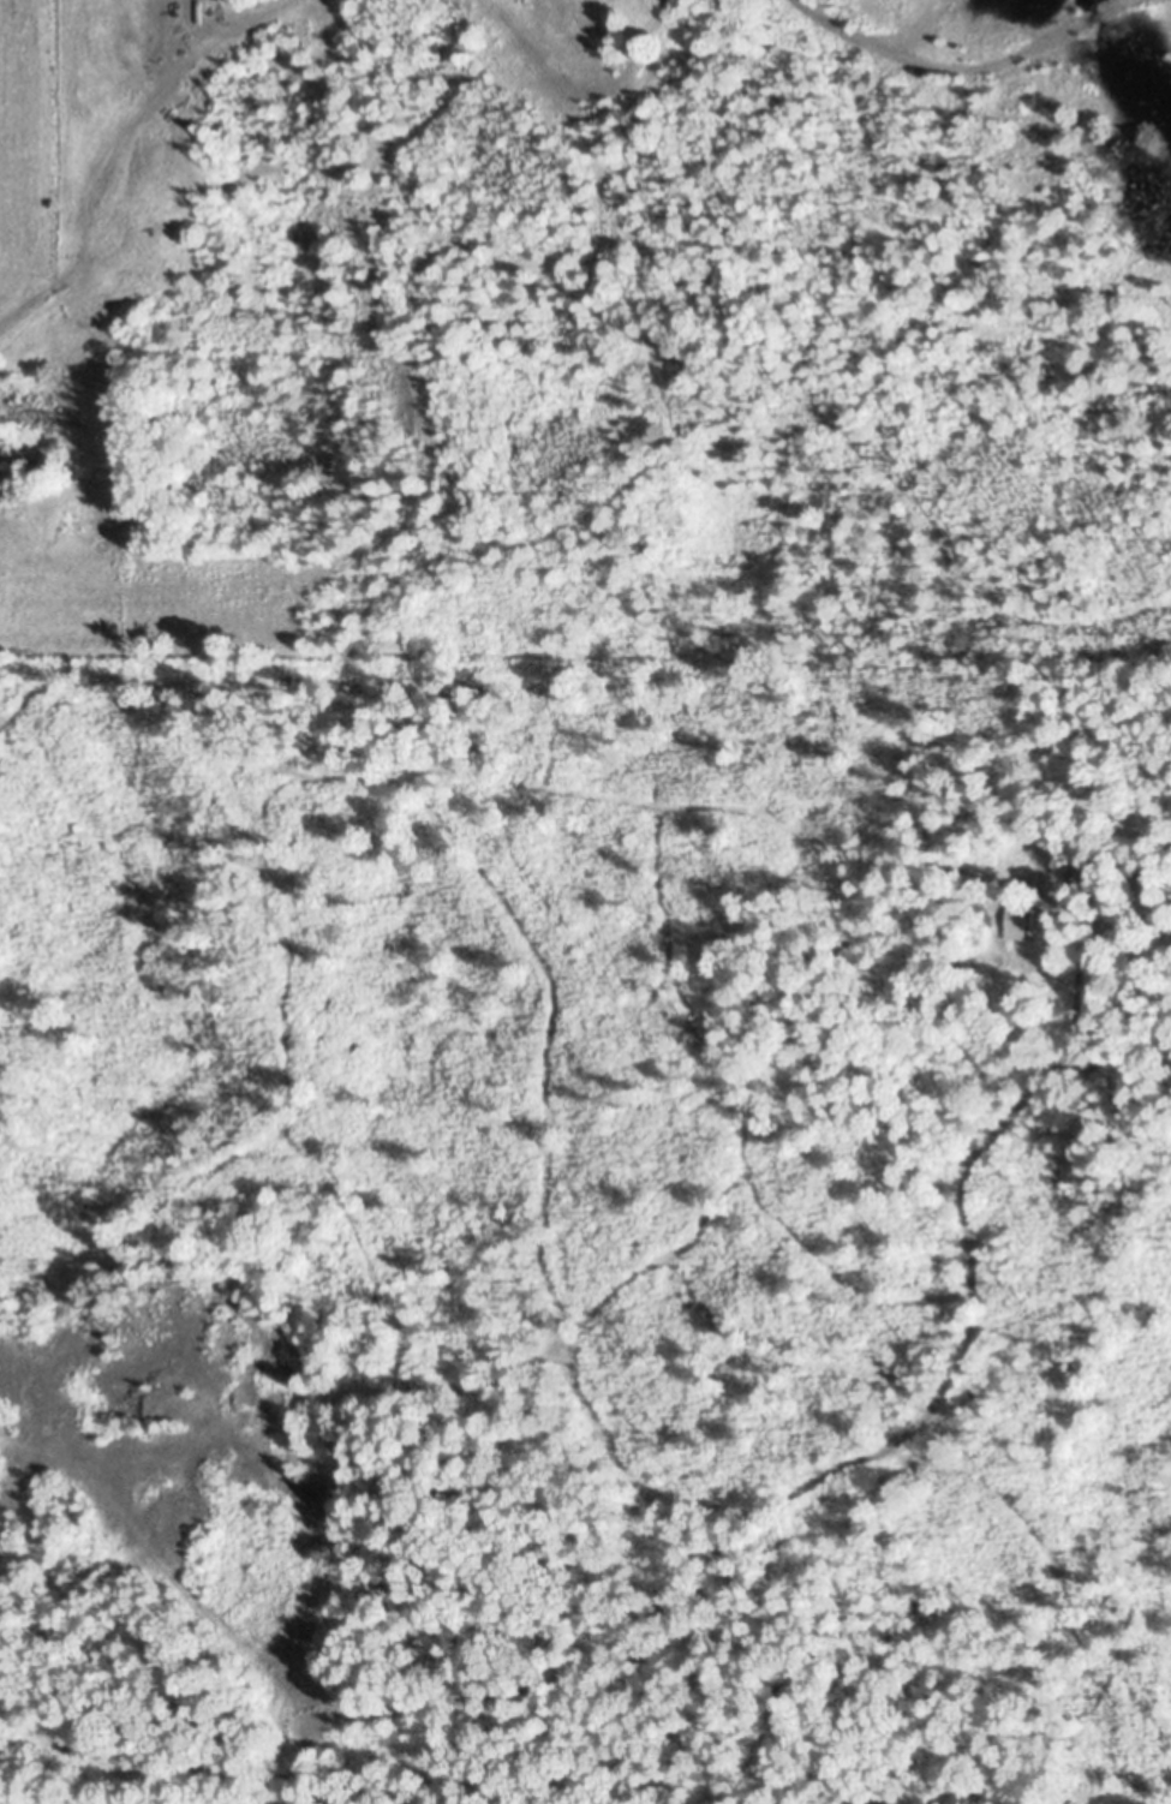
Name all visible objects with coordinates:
building: (1129, 870)
building: (1143, 895)
building: (1015, 915)
road: (294, 1757)

